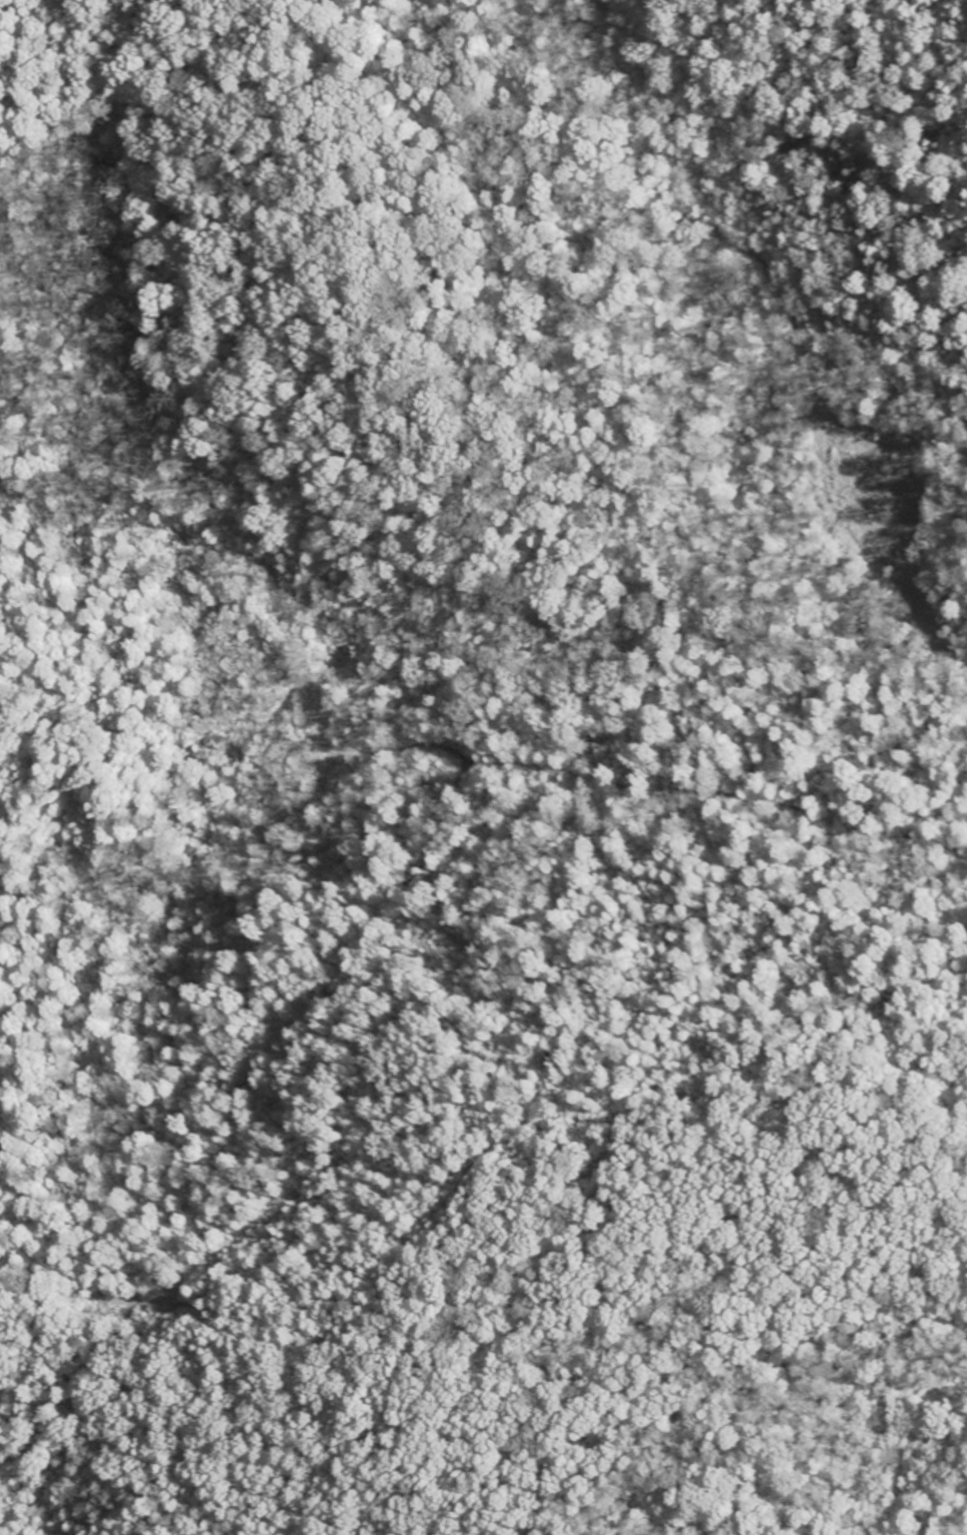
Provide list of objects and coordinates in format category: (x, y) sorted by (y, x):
road: (409, 507)

